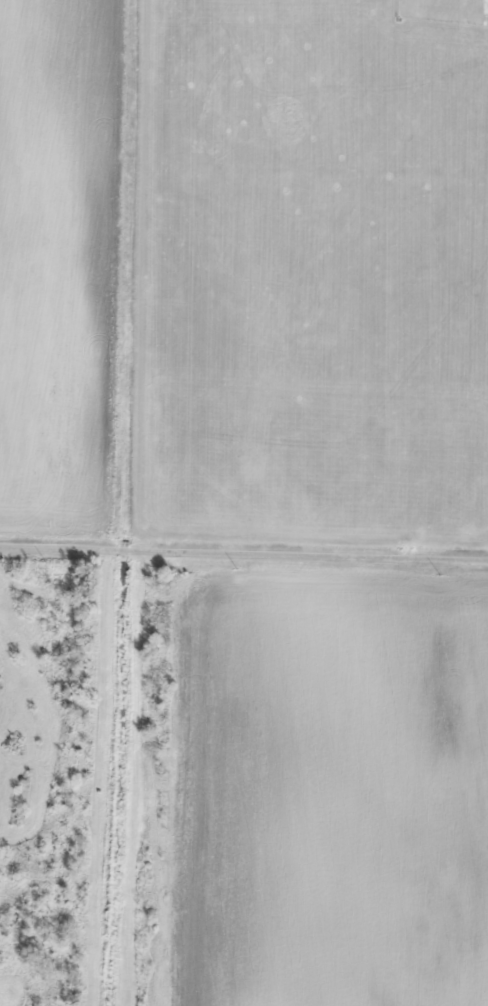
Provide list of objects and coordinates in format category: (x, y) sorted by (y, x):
crop: (57, 259)
road: (244, 553)

